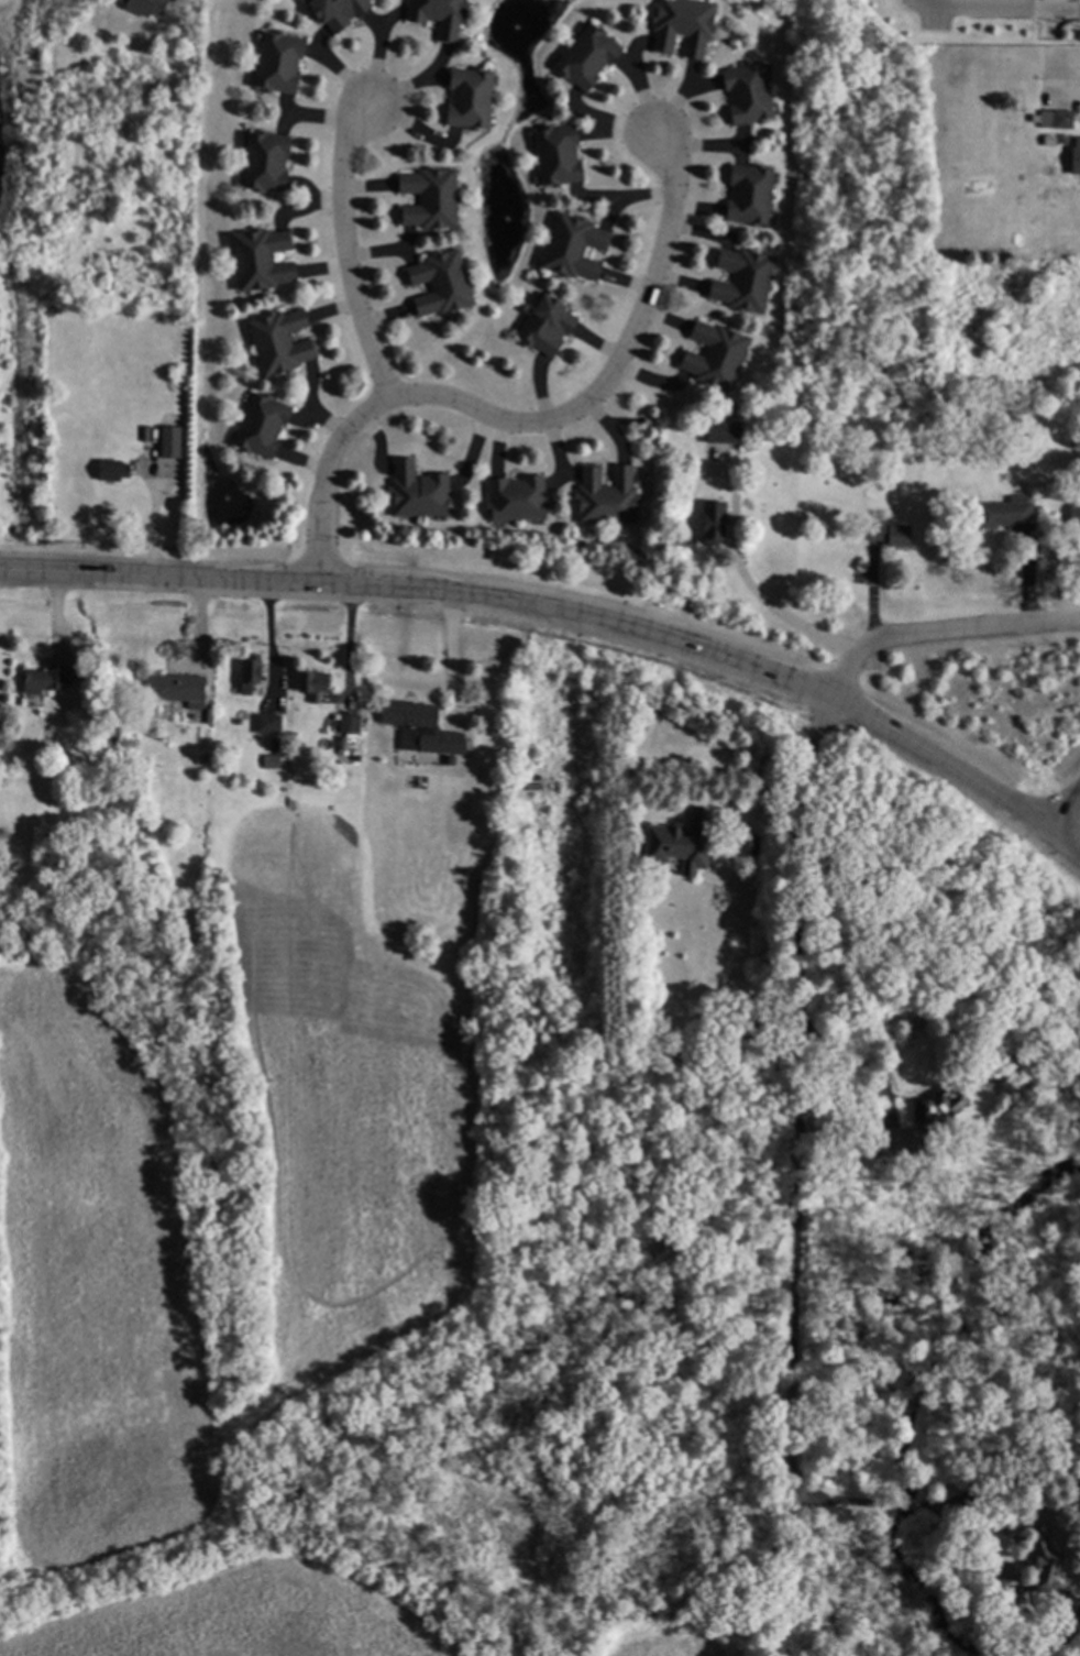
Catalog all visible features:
building: (1054, 0)
building: (144, 7)
building: (337, 11)
building: (437, 15)
building: (681, 25)
building: (585, 56)
building: (276, 62)
building: (746, 92)
building: (467, 98)
building: (1053, 118)
building: (555, 155)
building: (1073, 156)
building: (264, 160)
building: (748, 191)
building: (427, 196)
building: (573, 246)
road: (344, 252)
building: (261, 259)
building: (741, 278)
building: (437, 281)
building: (544, 326)
building: (278, 341)
building: (712, 353)
building: (1014, 421)
building: (260, 424)
road: (527, 424)
building: (721, 430)
building: (150, 442)
building: (168, 442)
building: (111, 469)
building: (416, 490)
building: (604, 495)
building: (516, 497)
building: (1002, 512)
building: (1073, 514)
building: (709, 520)
building: (888, 533)
road: (752, 594)
road: (549, 606)
road: (940, 629)
road: (349, 644)
road: (451, 656)
building: (252, 672)
building: (88, 675)
building: (48, 679)
building: (316, 683)
building: (178, 689)
building: (352, 723)
building: (271, 724)
building: (423, 727)
building: (344, 743)
building: (278, 745)
building: (452, 759)
building: (273, 761)
road: (1064, 805)
road: (1065, 836)
building: (685, 842)
building: (751, 844)
building: (492, 946)
building: (897, 1020)
building: (756, 1021)
road: (845, 1052)
building: (934, 1120)
building: (846, 1152)
road: (795, 1181)
building: (1047, 1570)
building: (1061, 1637)

